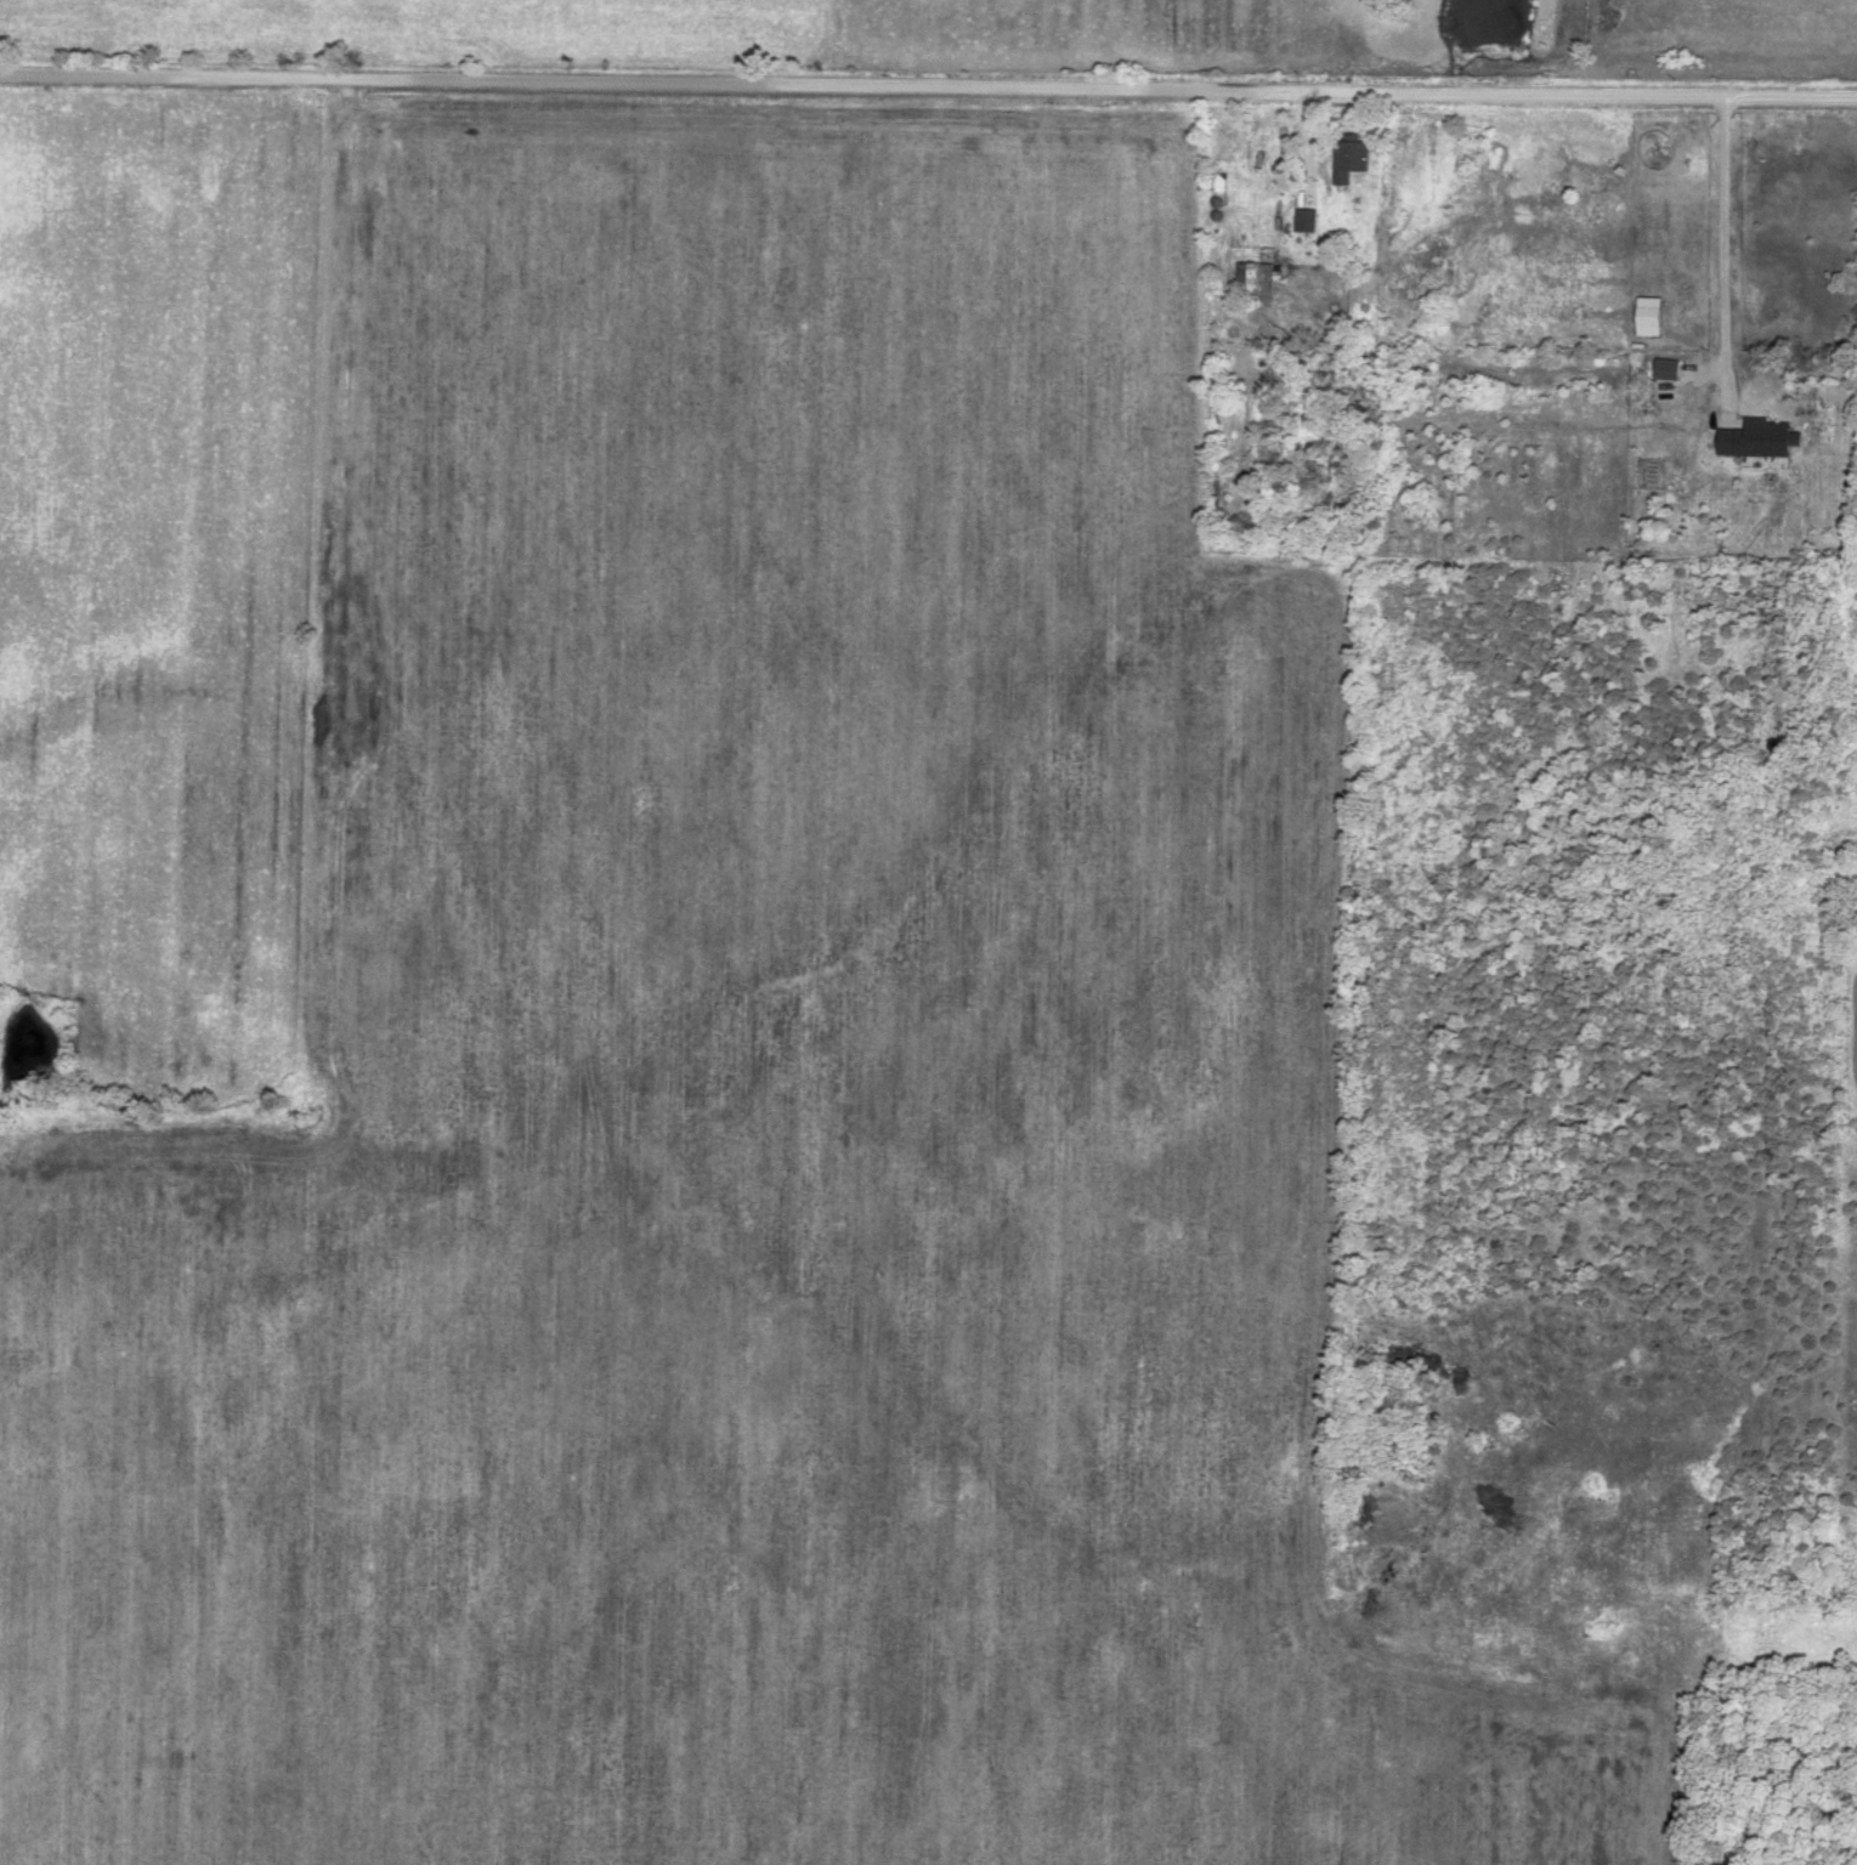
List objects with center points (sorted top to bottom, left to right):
road: (928, 92)
building: (1346, 161)
building: (1302, 222)
road: (1722, 243)
building: (1251, 280)

